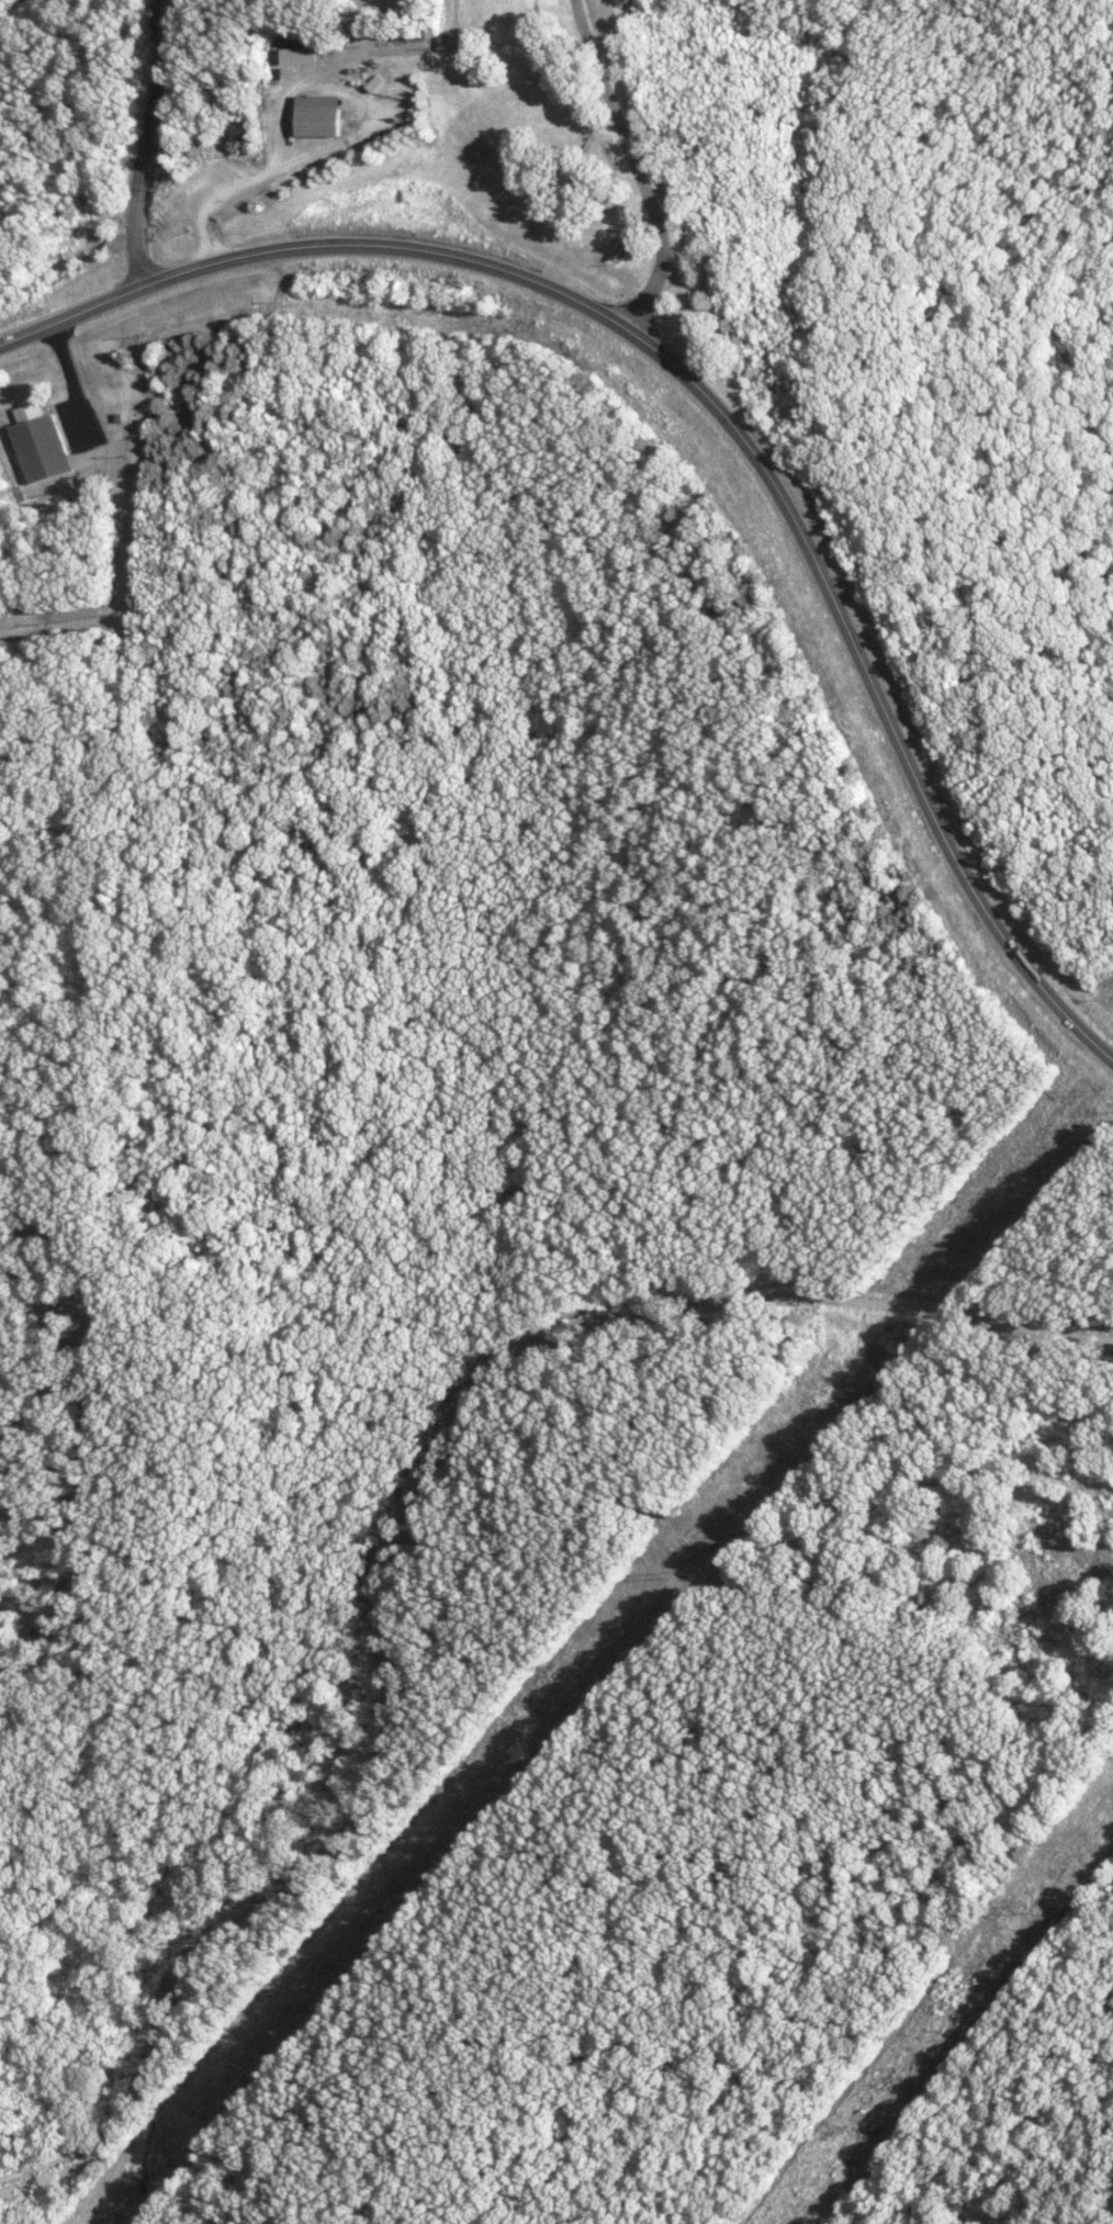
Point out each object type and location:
building: (301, 54)
building: (317, 115)
road: (149, 143)
road: (632, 165)
road: (715, 402)
building: (38, 443)
power tower: (1084, 1091)
power tower: (663, 1575)
power tower: (1022, 1909)
power tower: (303, 1989)

